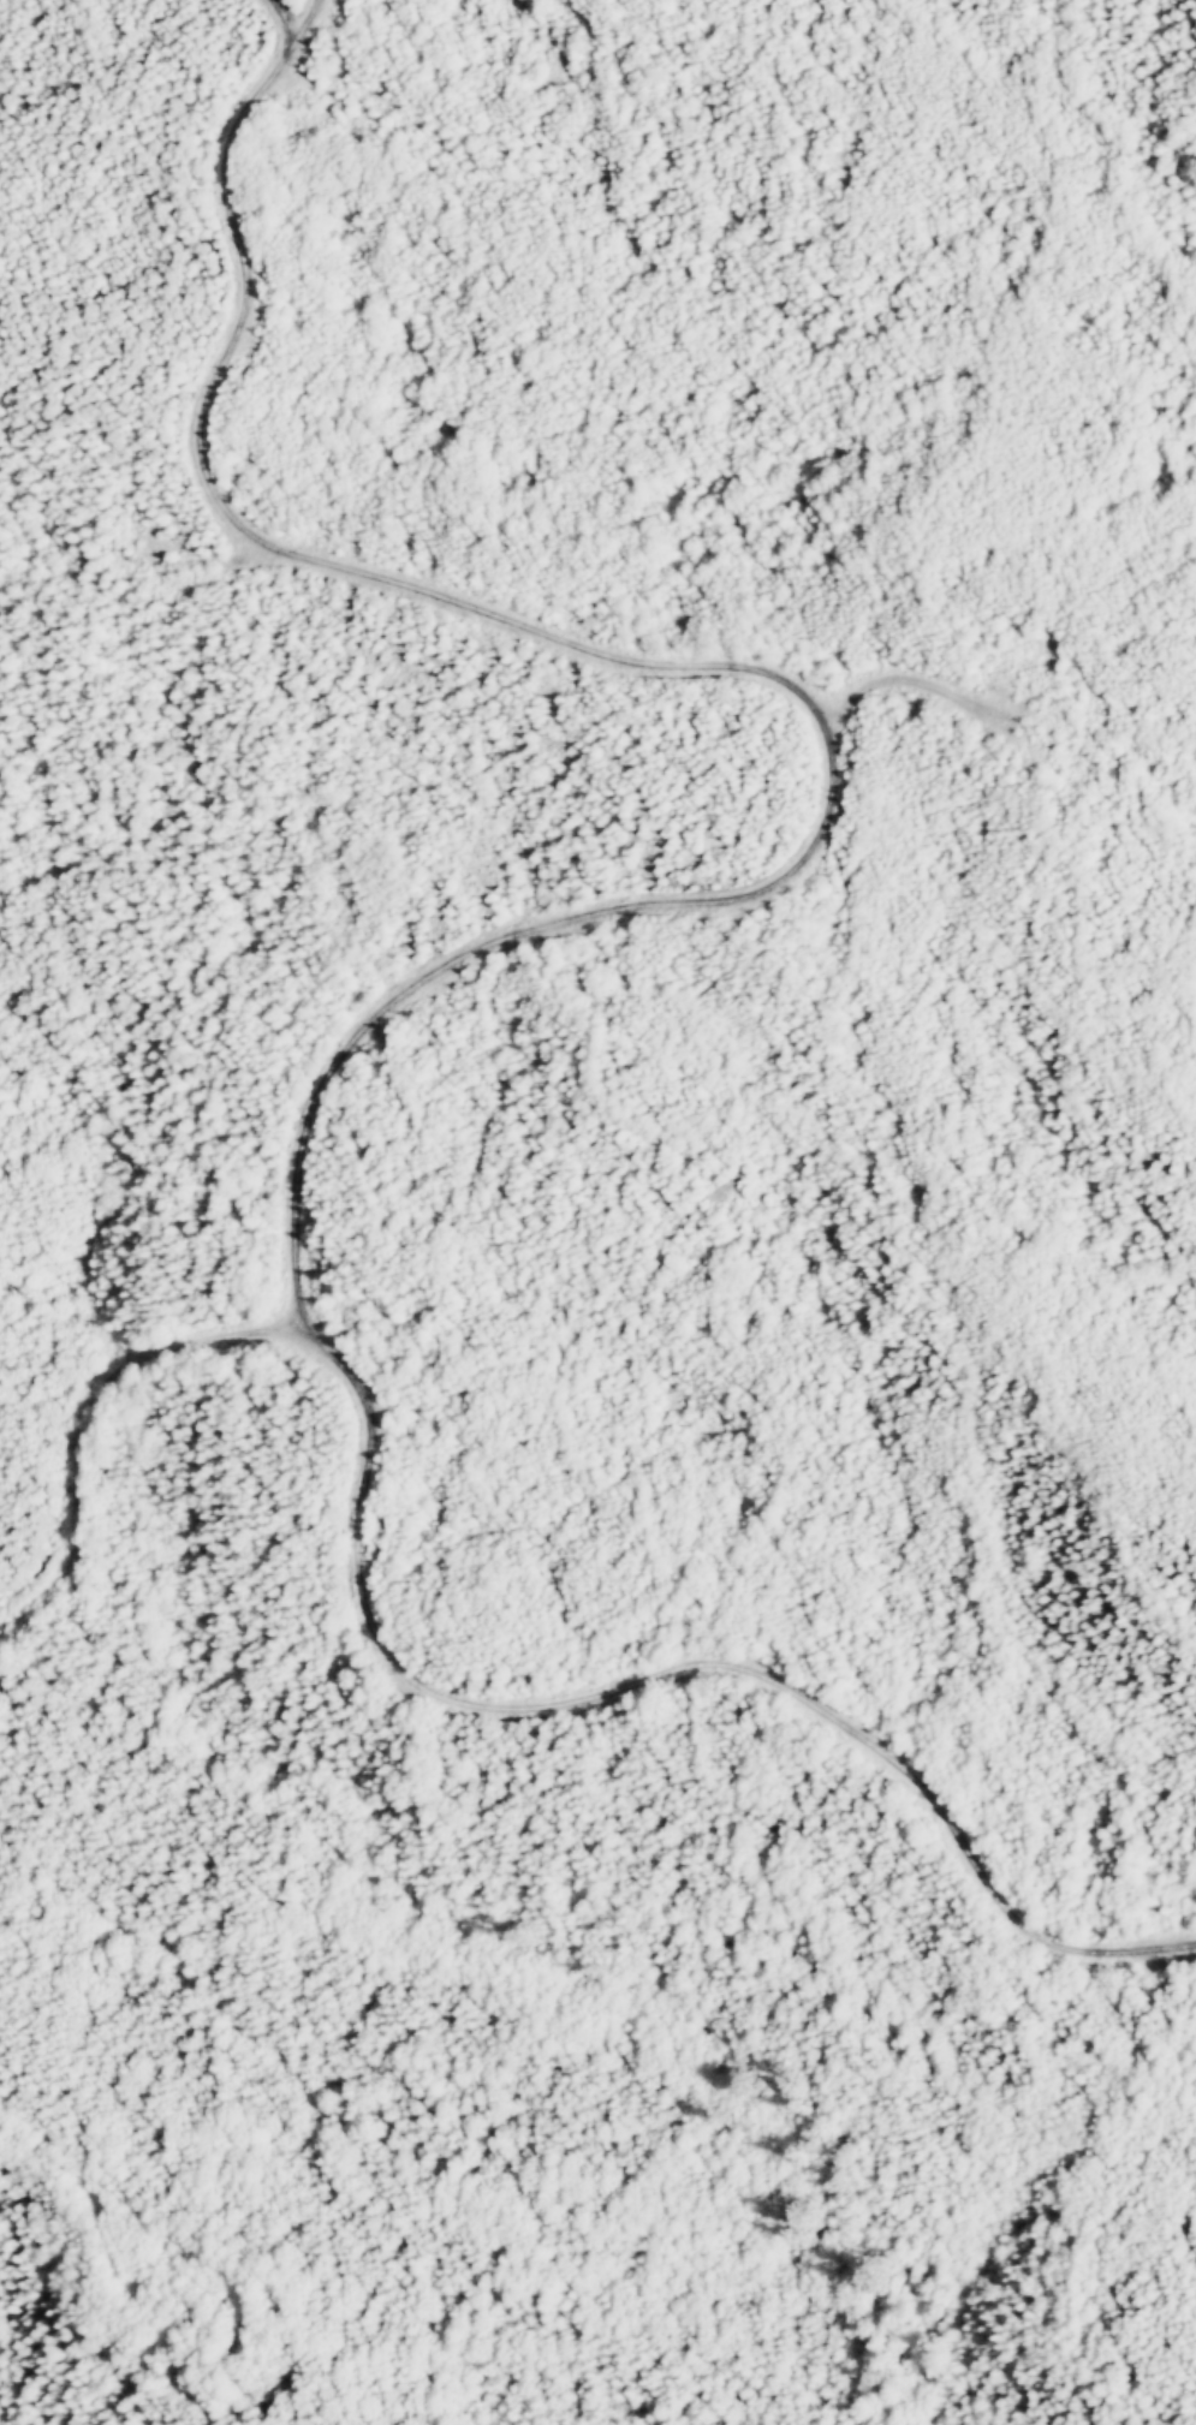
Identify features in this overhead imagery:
road: (292, 18)
road: (835, 858)
road: (651, 1674)

